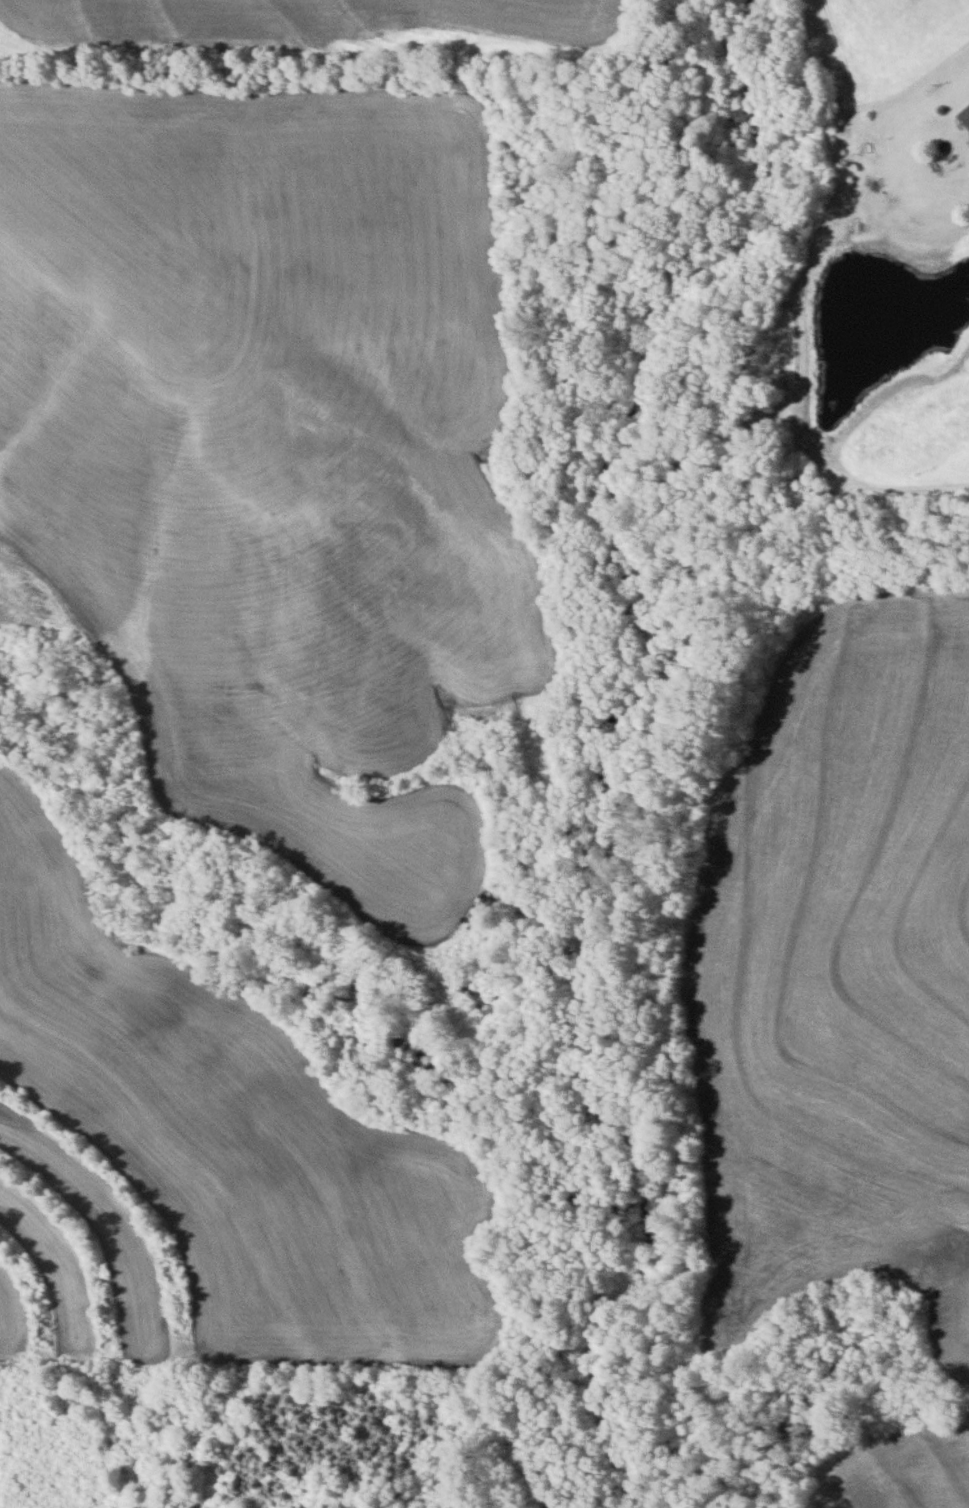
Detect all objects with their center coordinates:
building: (965, 114)

